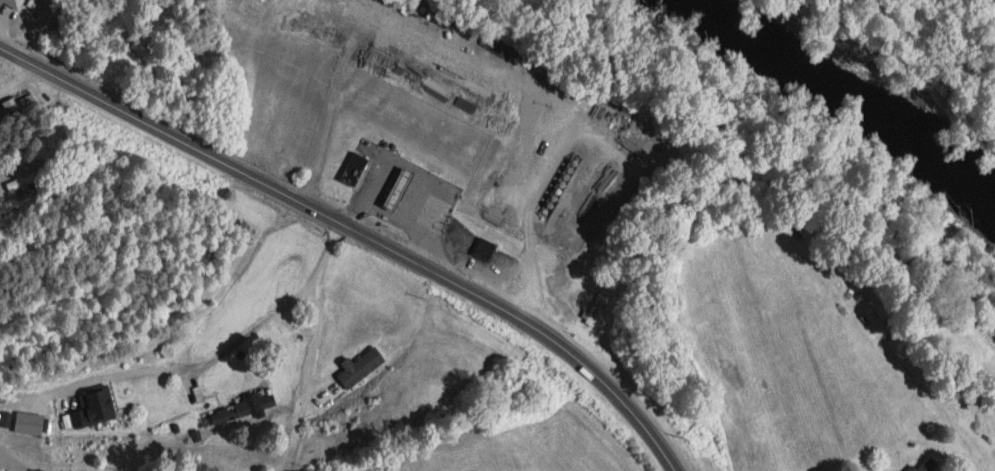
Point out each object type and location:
building: (11, 4)
road: (18, 78)
river: (831, 103)
building: (17, 116)
building: (352, 168)
building: (16, 185)
building: (395, 187)
road: (358, 231)
building: (594, 308)
road: (309, 349)
road: (220, 351)
building: (358, 368)
building: (241, 408)
building: (90, 410)
building: (922, 467)

